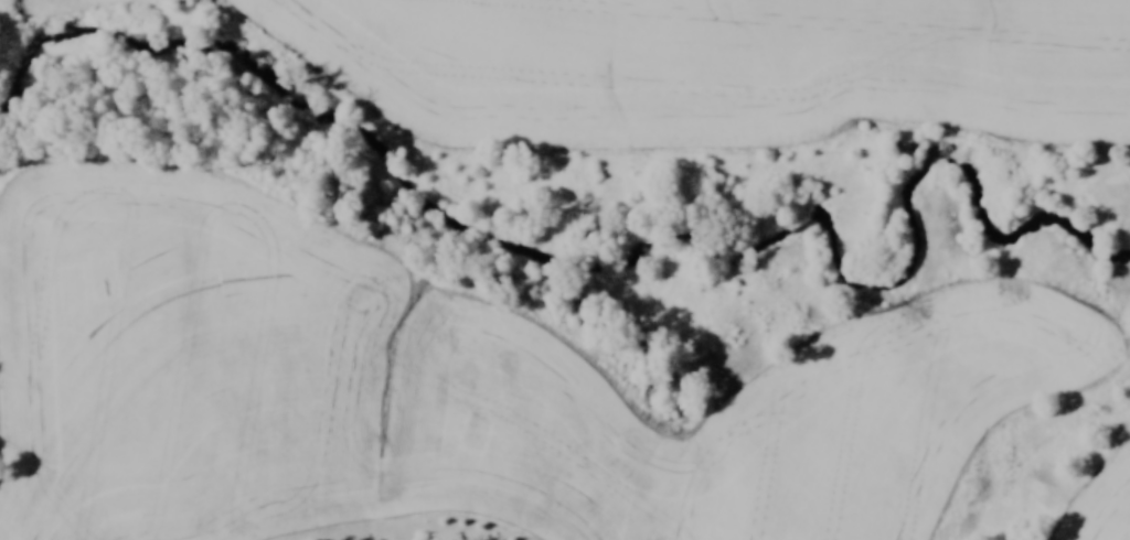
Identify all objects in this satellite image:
crop: (1099, 505)

